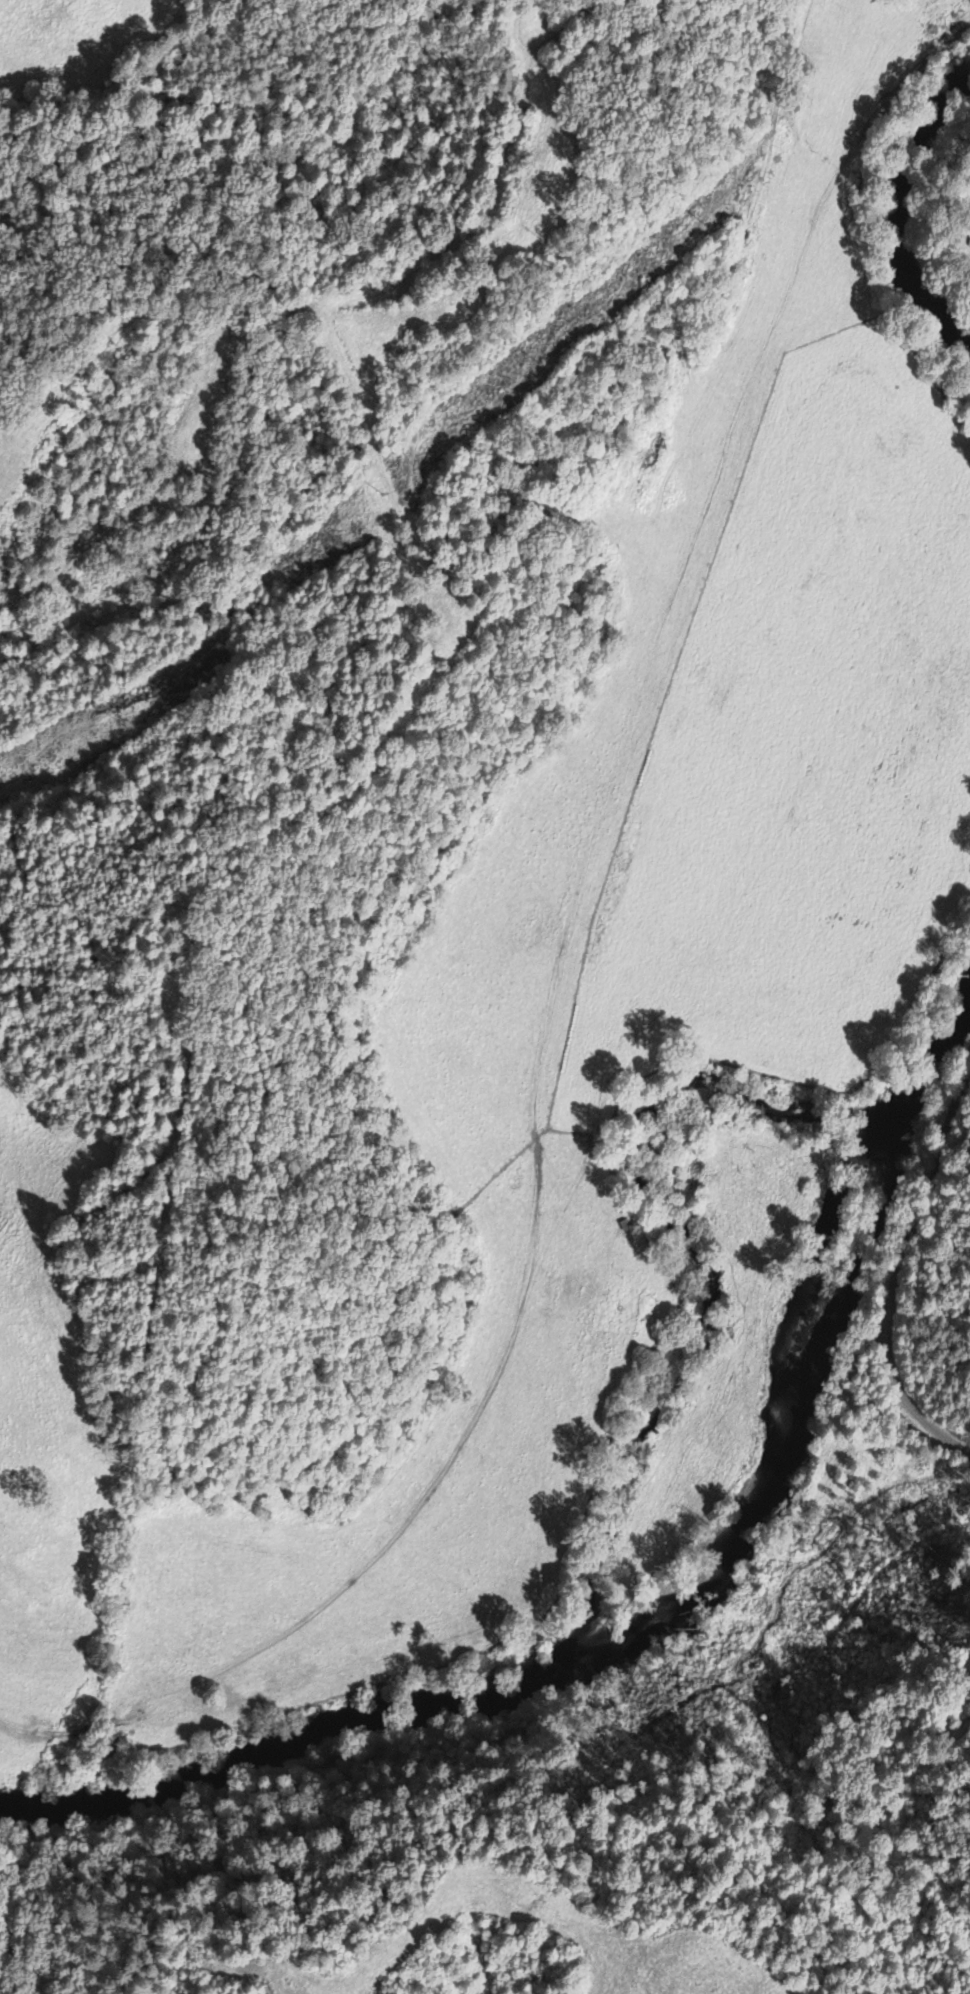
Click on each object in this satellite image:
river: (917, 227)
power tower: (110, 715)
river: (651, 1624)

